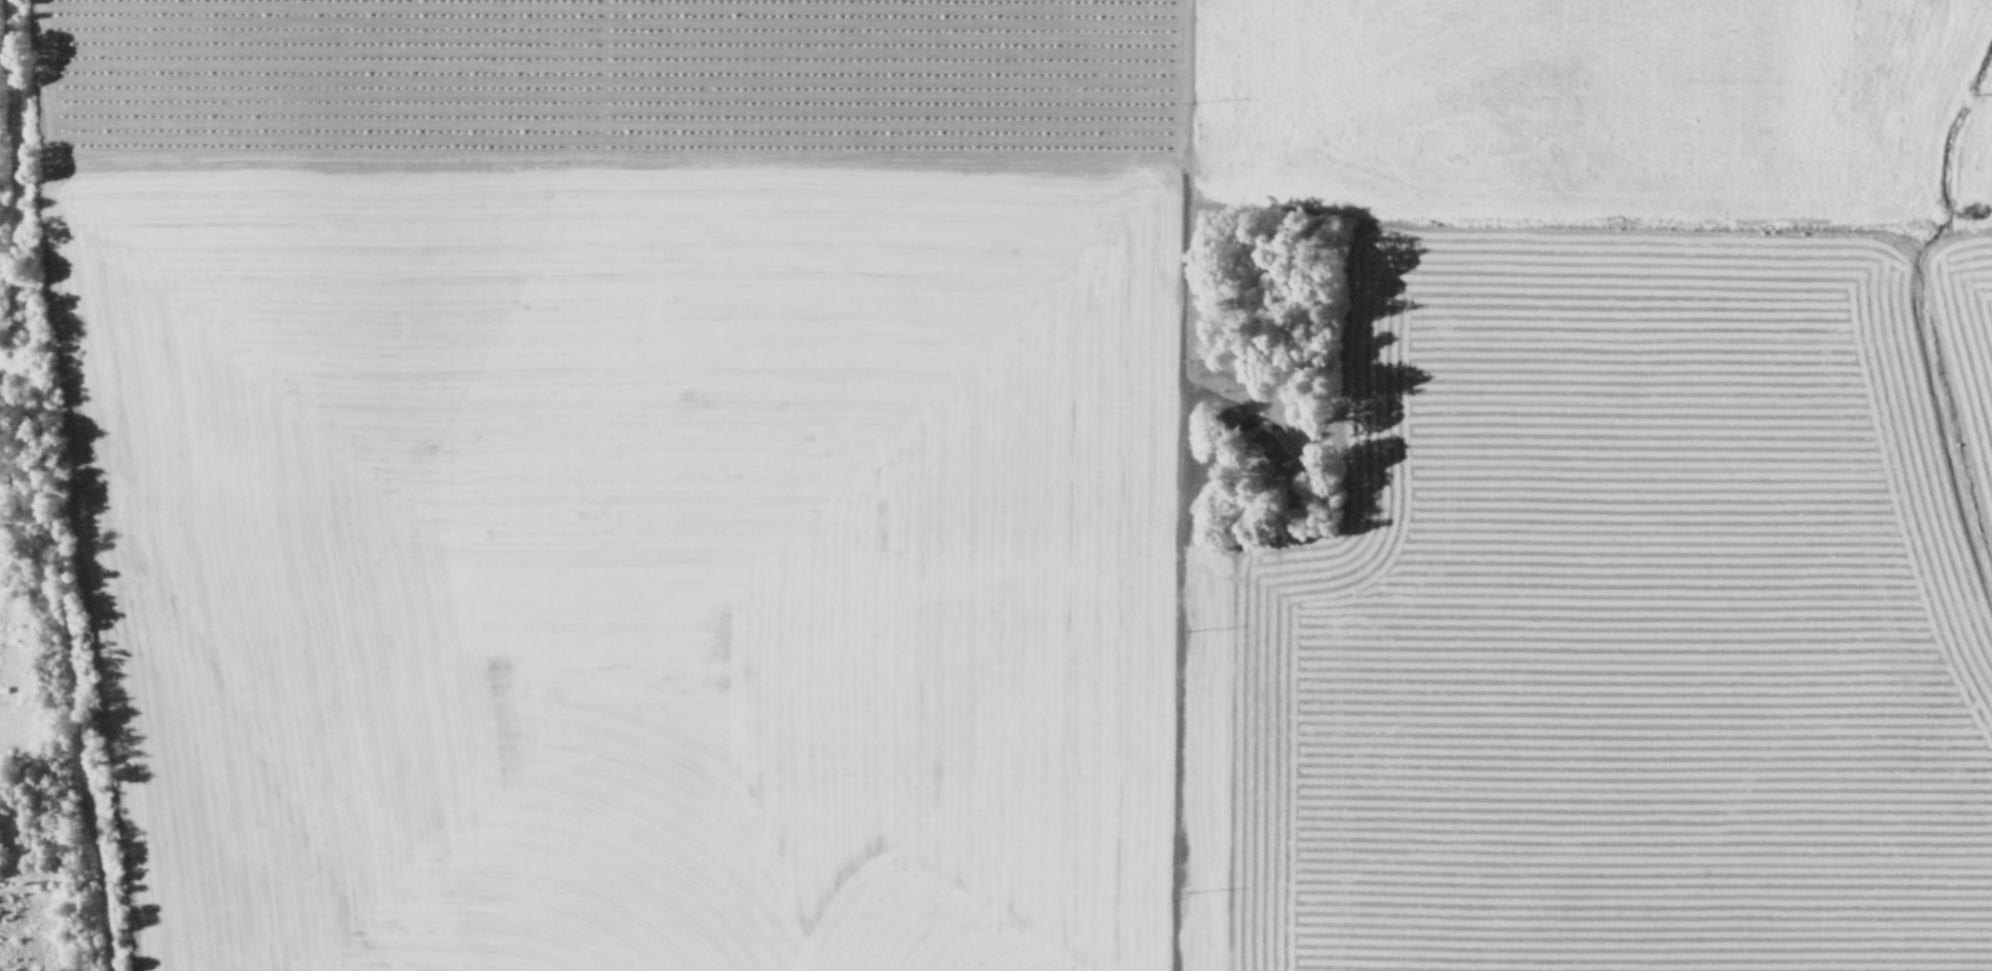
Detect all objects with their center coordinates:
crop: (1988, 203)
crop: (709, 443)
building: (1271, 447)
crop: (1611, 626)
road: (1178, 664)

